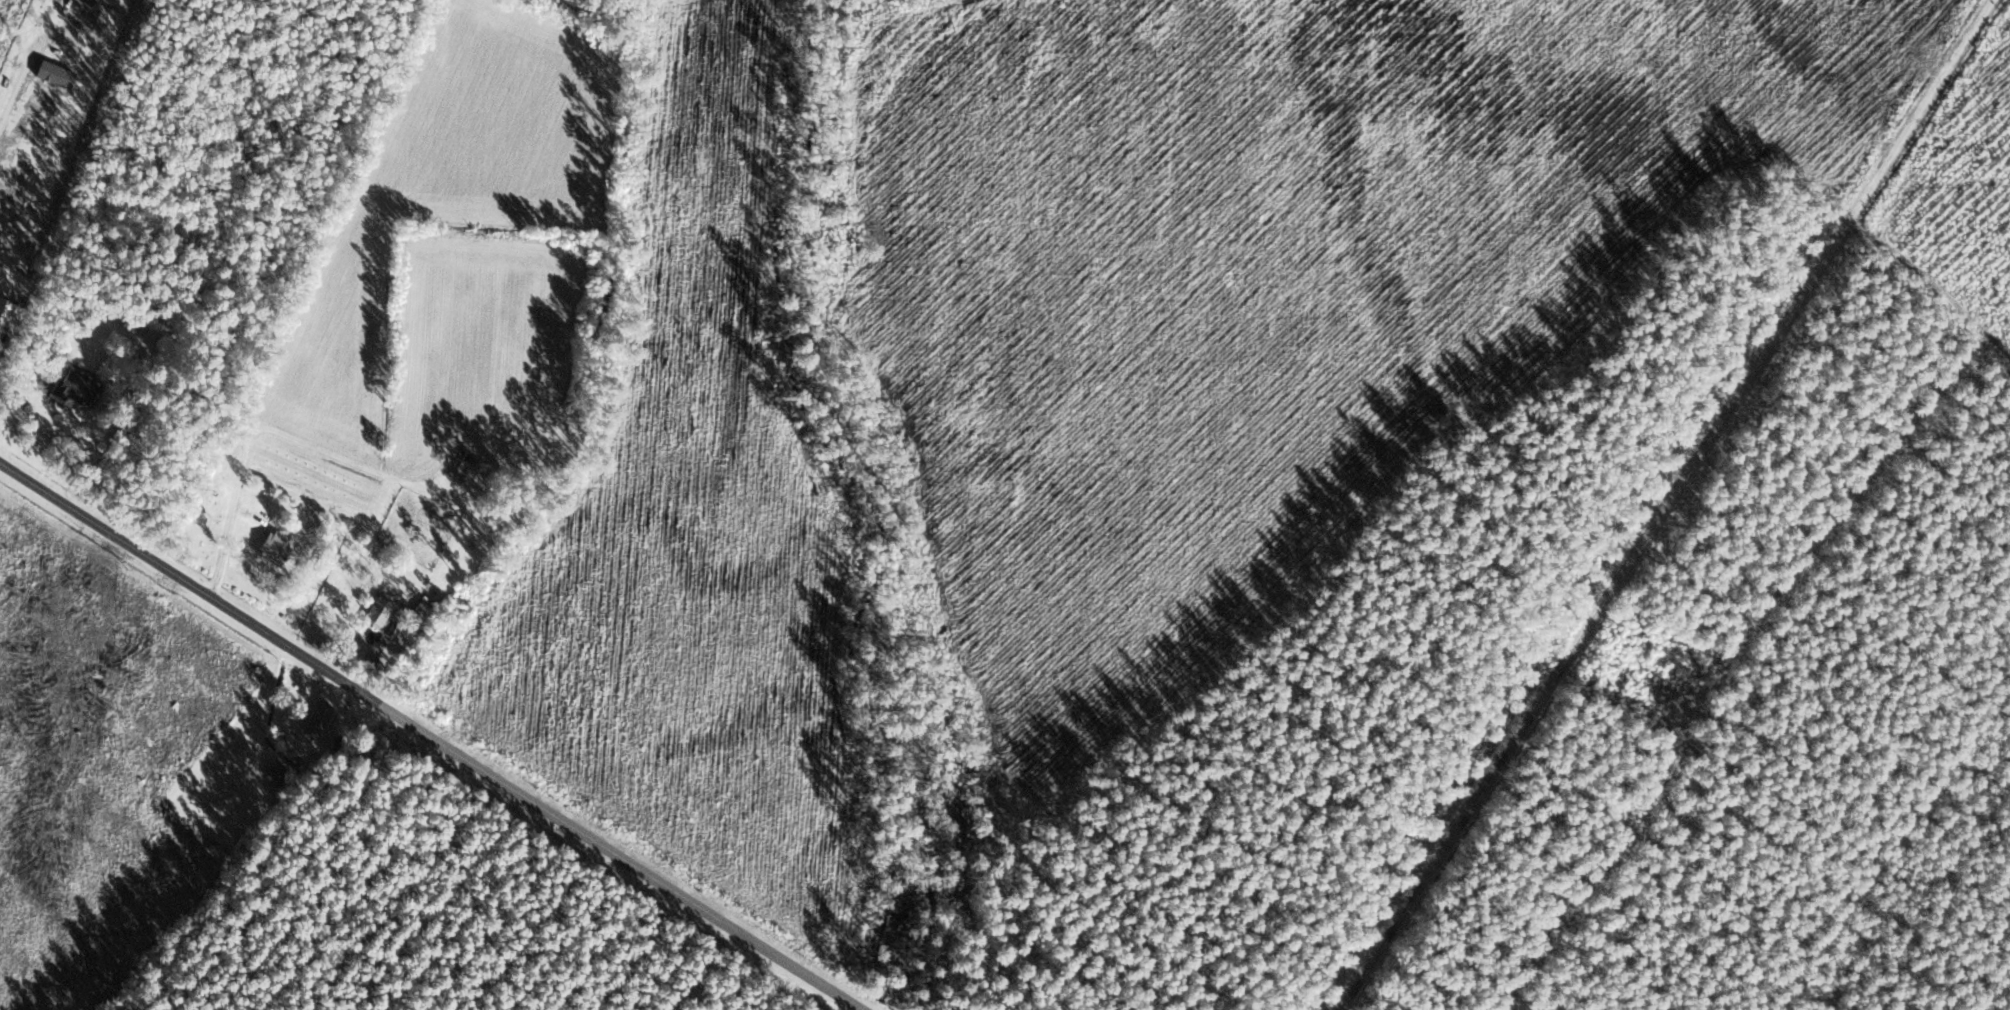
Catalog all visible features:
building: (0, 320)
building: (73, 390)
building: (463, 468)
road: (1622, 501)
building: (342, 515)
building: (273, 549)
building: (377, 611)
building: (391, 631)
building: (317, 719)
road: (429, 736)
building: (277, 774)

